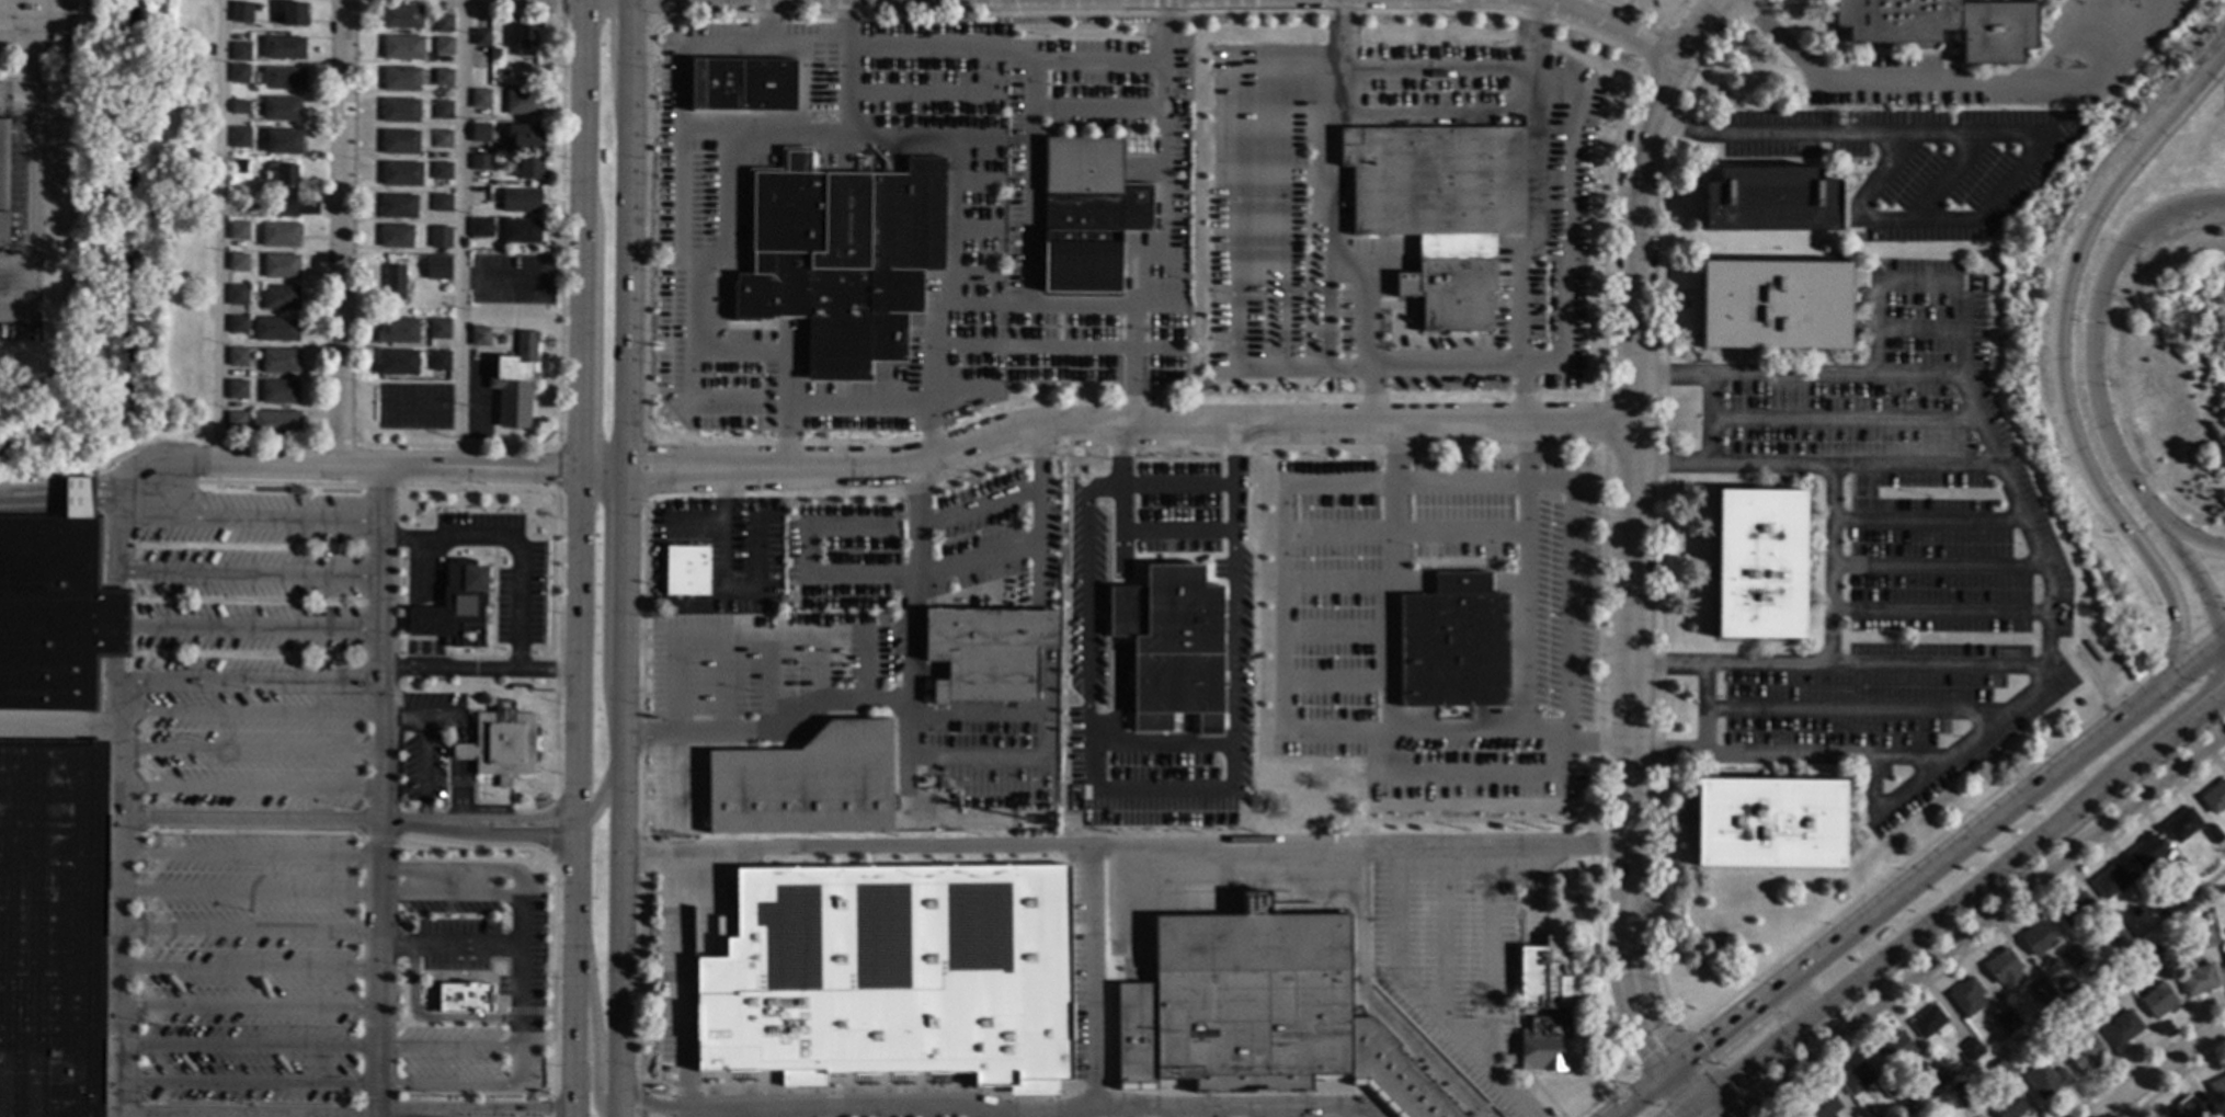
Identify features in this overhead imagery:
road: (1554, 2)
building: (256, 7)
building: (241, 11)
building: (294, 14)
building: (402, 16)
road: (1609, 22)
building: (443, 23)
road: (767, 23)
road: (843, 24)
building: (744, 25)
building: (1943, 25)
road: (627, 27)
road: (1707, 29)
road: (1161, 33)
road: (1338, 33)
road: (1531, 34)
building: (481, 37)
building: (525, 41)
building: (443, 46)
building: (283, 47)
building: (402, 47)
building: (240, 52)
road: (1003, 52)
building: (494, 53)
road: (32, 61)
road: (1436, 68)
building: (239, 72)
building: (443, 77)
building: (284, 78)
road: (1950, 78)
building: (401, 79)
building: (742, 84)
building: (480, 98)
building: (523, 102)
building: (240, 106)
building: (282, 109)
building: (442, 109)
building: (400, 110)
building: (480, 132)
road: (1997, 132)
building: (240, 136)
building: (525, 136)
road: (823, 136)
building: (442, 138)
building: (284, 141)
building: (400, 141)
road: (722, 141)
building: (480, 162)
building: (530, 167)
building: (441, 170)
building: (401, 173)
building: (4, 176)
road: (1030, 182)
building: (285, 192)
building: (521, 200)
building: (1770, 200)
building: (441, 202)
road: (950, 203)
building: (398, 205)
building: (1440, 207)
building: (1086, 208)
road: (1534, 217)
road: (31, 218)
road: (1565, 219)
building: (481, 227)
road: (1245, 228)
building: (239, 230)
building: (521, 230)
road: (220, 231)
building: (279, 233)
road: (341, 233)
road: (459, 235)
road: (581, 235)
building: (396, 236)
building: (441, 237)
park: (140, 243)
road: (625, 252)
road: (1162, 252)
road: (1320, 255)
building: (843, 258)
building: (238, 262)
road: (15, 265)
building: (279, 265)
building: (437, 267)
building: (395, 282)
building: (1267, 290)
building: (238, 295)
building: (281, 297)
building: (1859, 297)
road: (1036, 305)
building: (1775, 305)
building: (512, 319)
traffic signals: (2090, 321)
building: (238, 323)
building: (438, 328)
building: (275, 329)
building: (398, 330)
building: (480, 335)
road: (595, 347)
building: (237, 356)
building: (279, 360)
building: (440, 361)
road: (1445, 361)
building: (397, 362)
road: (2056, 362)
road: (2090, 366)
road: (1917, 374)
building: (515, 381)
building: (237, 389)
road: (1522, 390)
building: (279, 391)
road: (854, 409)
road: (1703, 417)
building: (236, 420)
road: (1179, 421)
building: (275, 423)
building: (118, 452)
building: (101, 453)
building: (93, 455)
road: (677, 455)
building: (85, 460)
road: (623, 464)
road: (1913, 464)
road: (400, 468)
building: (82, 471)
road: (1632, 475)
road: (678, 479)
road: (1174, 480)
road: (167, 482)
road: (1465, 485)
road: (2007, 492)
road: (32, 498)
road: (78, 499)
road: (109, 501)
road: (977, 503)
road: (250, 517)
road: (1922, 517)
road: (729, 531)
road: (123, 545)
building: (1759, 563)
road: (1932, 563)
road: (1829, 565)
building: (686, 570)
road: (580, 571)
road: (249, 577)
road: (902, 577)
road: (604, 580)
road: (1568, 593)
road: (515, 603)
road: (621, 605)
building: (54, 607)
building: (454, 608)
road: (1937, 609)
road: (2212, 609)
building: (1451, 619)
building: (1169, 646)
traffic signals: (2218, 648)
building: (2092, 651)
building: (991, 653)
road: (1938, 665)
road: (546, 671)
road: (909, 677)
road: (249, 684)
road: (1701, 708)
road: (248, 714)
road: (454, 715)
road: (60, 729)
road: (769, 732)
building: (501, 744)
road: (421, 746)
road: (578, 749)
road: (248, 751)
road: (118, 752)
road: (466, 752)
road: (1378, 770)
road: (604, 780)
building: (806, 783)
road: (247, 790)
road: (375, 793)
road: (467, 793)
road: (621, 796)
building: (2214, 797)
building: (1040, 819)
road: (144, 822)
building: (1769, 822)
building: (2182, 824)
road: (522, 825)
building: (2214, 834)
road: (1125, 847)
building: (2147, 853)
road: (244, 855)
road: (1942, 859)
building: (2181, 868)
road: (449, 870)
building: (2110, 880)
road: (244, 892)
building: (2146, 896)
road: (448, 897)
road: (1951, 900)
building: (2142, 908)
building: (2076, 909)
building: (2206, 915)
road: (1977, 923)
building: (53, 927)
road: (244, 932)
building: (2116, 936)
building: (2205, 936)
building: (2036, 937)
road: (448, 946)
building: (2109, 947)
building: (2148, 956)
road: (1488, 958)
building: (2076, 960)
building: (2118, 965)
road: (246, 969)
building: (2005, 969)
road: (574, 970)
building: (890, 973)
building: (2199, 979)
building: (2109, 981)
road: (520, 985)
road: (617, 988)
road: (1616, 992)
building: (2043, 992)
building: (1966, 996)
building: (465, 1000)
road: (1417, 1000)
road: (1793, 1000)
building: (2157, 1000)
road: (1647, 1006)
road: (246, 1007)
building: (1545, 1007)
building: (1258, 1012)
building: (2075, 1014)
building: (1929, 1022)
building: (2008, 1022)
building: (2122, 1028)
road: (592, 1036)
road: (246, 1045)
road: (447, 1048)
building: (1972, 1048)
building: (1894, 1049)
building: (2086, 1055)
building: (2001, 1069)
road: (2160, 1070)
building: (1954, 1076)
building: (1857, 1078)
building: (1935, 1078)
building: (2045, 1080)
road: (246, 1084)
building: (1887, 1087)
road: (445, 1090)
road: (1679, 1090)
building: (2217, 1090)
building: (1963, 1095)
road: (1636, 1097)
road: (655, 1105)
building: (1822, 1105)
building: (2008, 1105)
road: (1040, 1106)
building: (2183, 1108)
road: (1704, 1109)
road: (526, 1110)
road: (1074, 1112)
road: (789, 1114)
building: (1926, 1114)
road: (699, 1115)
road: (711, 1115)
road: (768, 1115)
building: (1795, 1115)
building: (2217, 1115)

